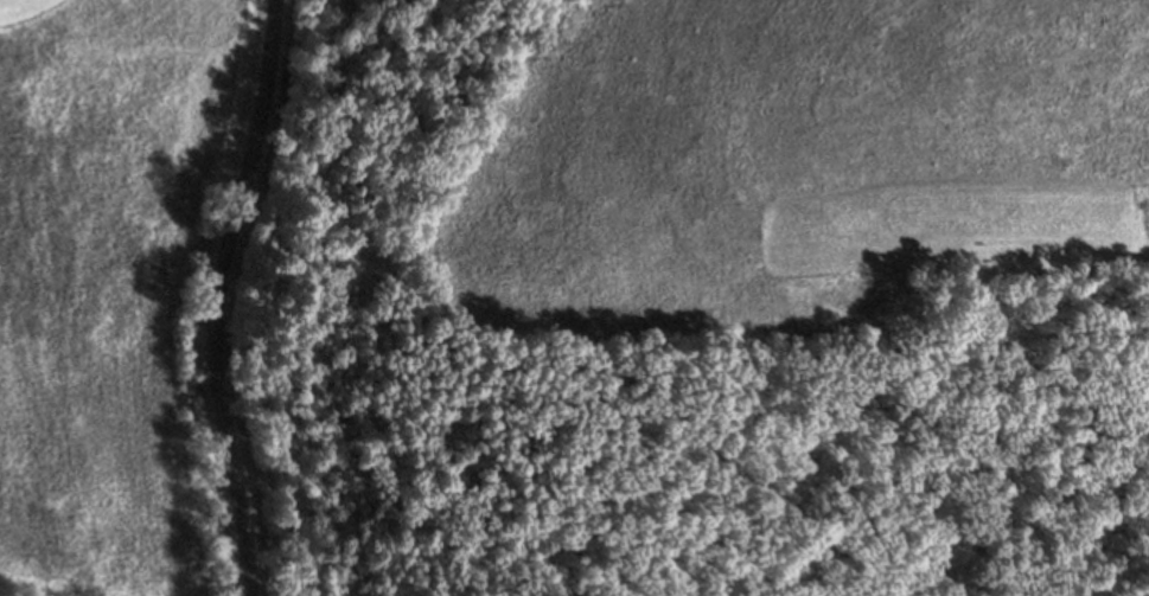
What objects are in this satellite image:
road: (219, 296)

